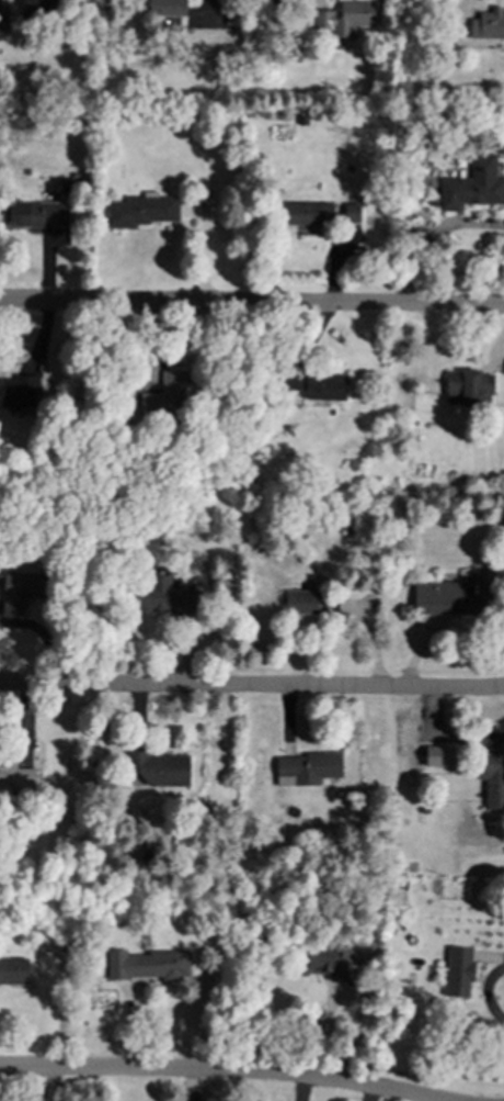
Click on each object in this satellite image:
building: (39, 8)
building: (167, 8)
building: (345, 18)
building: (2, 19)
building: (488, 24)
building: (473, 184)
building: (140, 211)
building: (306, 213)
building: (351, 213)
building: (38, 214)
road: (251, 303)
building: (316, 385)
building: (470, 386)
building: (18, 392)
building: (164, 394)
building: (20, 589)
building: (162, 595)
building: (451, 597)
building: (300, 602)
road: (252, 685)
building: (438, 755)
building: (306, 767)
building: (157, 769)
building: (15, 772)
building: (492, 778)
building: (328, 962)
building: (146, 964)
building: (13, 970)
building: (458, 971)
road: (220, 1070)
road: (43, 1090)

